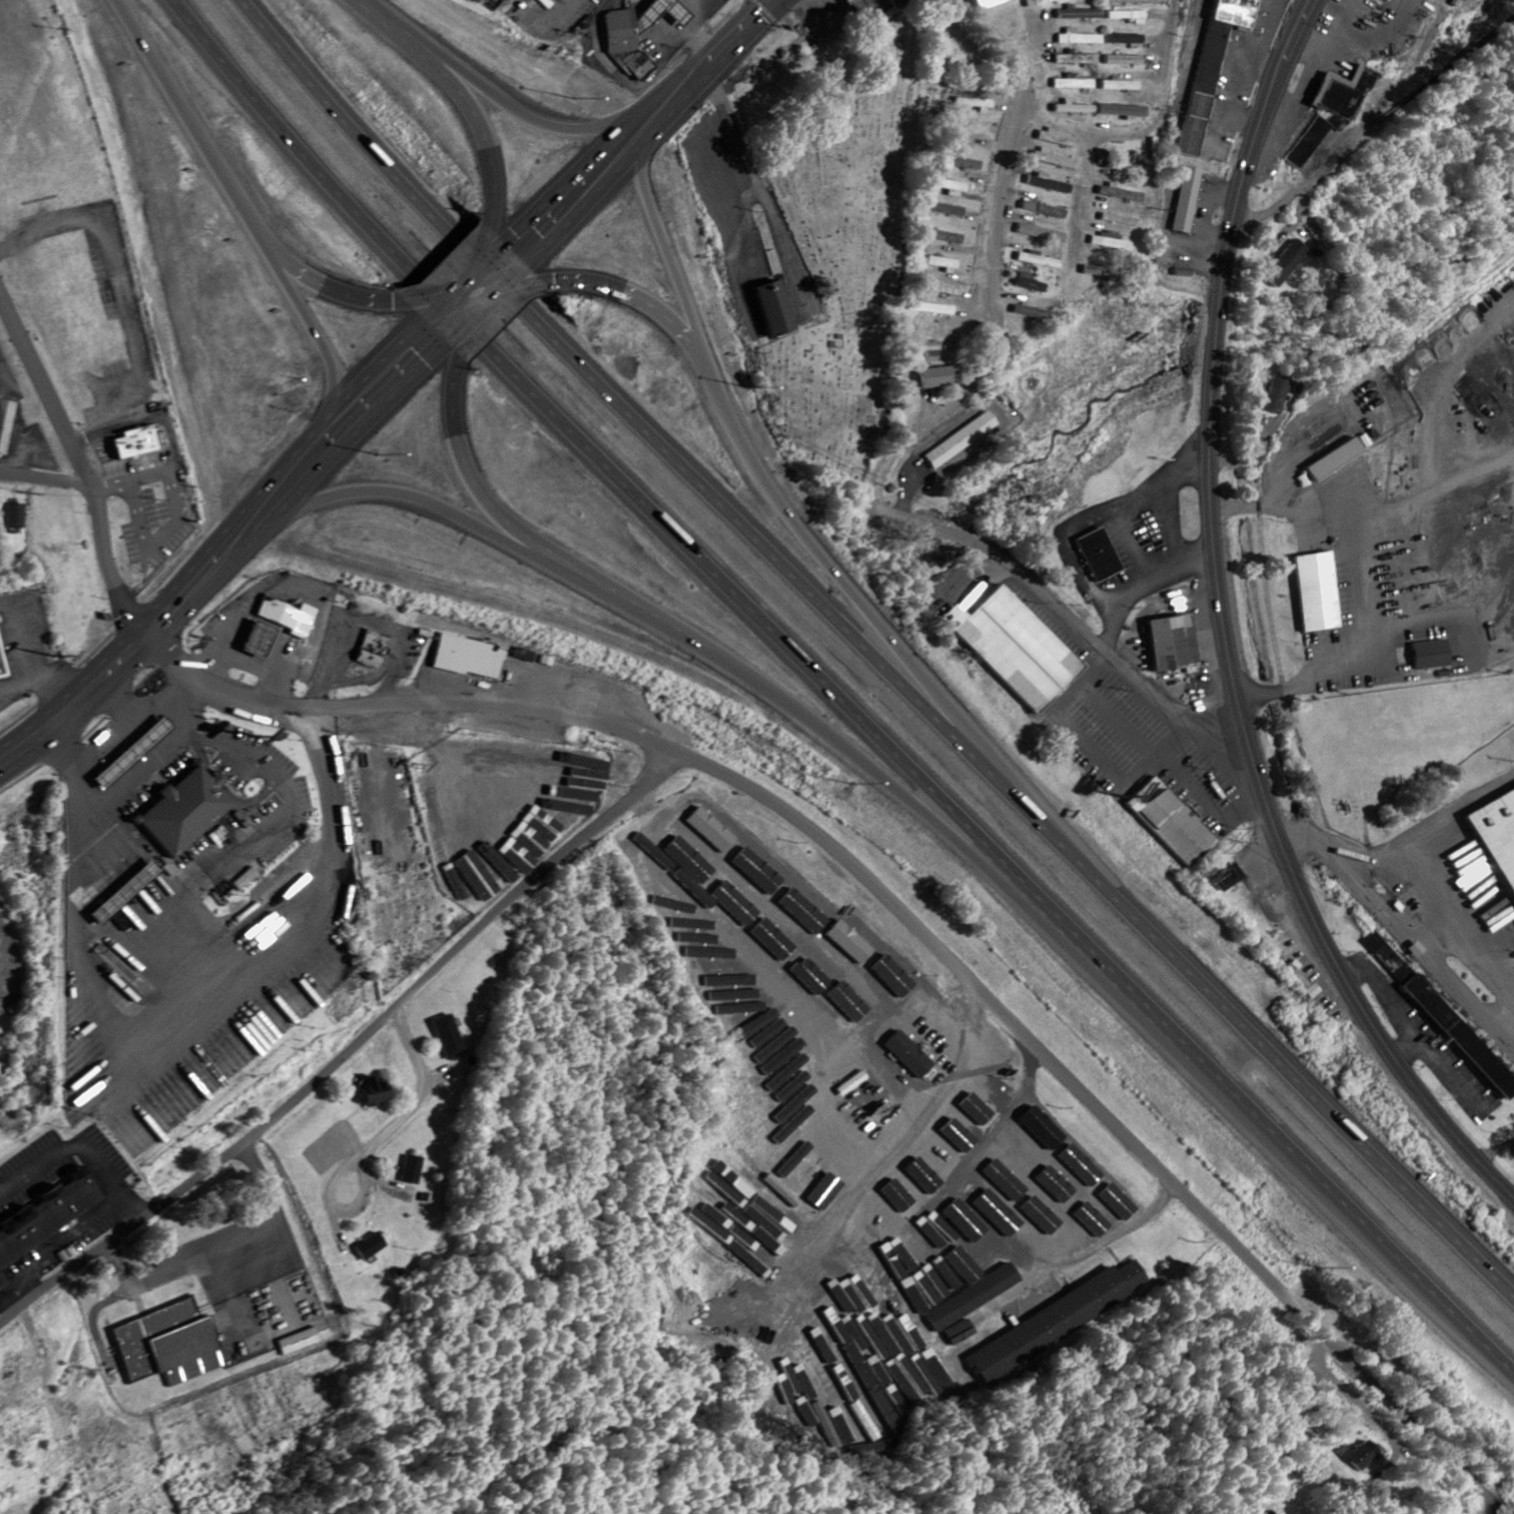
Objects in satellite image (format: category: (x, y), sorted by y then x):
building: (559, 2)
building: (899, 2)
building: (549, 3)
building: (1040, 3)
building: (989, 4)
building: (862, 9)
building: (1078, 14)
building: (1127, 17)
gas station: (683, 19)
building: (624, 35)
building: (1079, 39)
building: (1124, 40)
building: (1078, 60)
building: (1125, 61)
building: (1215, 65)
building: (1075, 83)
building: (1122, 86)
road: (1158, 89)
road: (485, 92)
building: (976, 104)
building: (1075, 109)
building: (1124, 111)
building: (1333, 111)
road: (471, 112)
road: (643, 126)
road: (1055, 127)
building: (1062, 141)
building: (1056, 160)
building: (966, 163)
building: (1131, 168)
building: (1051, 185)
building: (953, 186)
building: (1119, 194)
building: (1187, 200)
road: (1081, 202)
building: (946, 210)
building: (1044, 210)
road: (244, 217)
building: (1119, 221)
building: (1042, 234)
building: (948, 237)
building: (1109, 242)
road: (668, 248)
road: (478, 260)
building: (1039, 261)
building: (946, 263)
building: (1289, 265)
road: (492, 273)
road: (319, 283)
building: (1029, 283)
road: (601, 288)
building: (947, 289)
road: (435, 296)
road: (995, 296)
building: (767, 306)
building: (934, 309)
road: (451, 313)
building: (1030, 313)
road: (463, 325)
building: (930, 349)
building: (941, 377)
road: (46, 389)
building: (1275, 395)
building: (5, 423)
road: (333, 432)
building: (963, 440)
building: (136, 442)
building: (1334, 459)
road: (471, 481)
building: (15, 516)
road: (101, 518)
building: (1099, 555)
road: (194, 581)
building: (1318, 592)
building: (290, 616)
road: (873, 620)
road: (1226, 629)
building: (260, 639)
building: (1172, 643)
building: (1018, 648)
road: (1099, 648)
building: (373, 649)
building: (1435, 655)
building: (470, 657)
road: (869, 657)
building: (3, 664)
road: (739, 669)
road: (839, 689)
road: (79, 700)
road: (130, 716)
building: (128, 751)
gas station: (128, 751)
building: (181, 811)
building: (1175, 823)
building: (714, 830)
building: (1497, 837)
building: (696, 865)
building: (760, 871)
building: (1231, 878)
building: (245, 879)
building: (121, 891)
building: (738, 904)
building: (682, 908)
building: (803, 909)
road: (906, 918)
road: (1403, 927)
building: (705, 940)
building: (848, 940)
building: (778, 942)
road: (5, 950)
building: (700, 953)
building: (1389, 957)
building: (711, 967)
building: (819, 968)
building: (894, 974)
road: (848, 980)
building: (713, 981)
building: (812, 984)
building: (852, 1002)
building: (1, 1007)
building: (743, 1010)
building: (273, 1025)
building: (1462, 1034)
road: (182, 1035)
building: (450, 1037)
building: (762, 1049)
road: (350, 1050)
building: (913, 1055)
building: (376, 1093)
building: (983, 1109)
building: (1045, 1129)
building: (961, 1135)
building: (784, 1137)
road: (901, 1141)
road: (371, 1144)
building: (1023, 1152)
building: (795, 1161)
building: (1084, 1167)
building: (413, 1170)
building: (931, 1173)
building: (809, 1178)
building: (1008, 1181)
building: (917, 1186)
building: (737, 1193)
building: (908, 1196)
building: (792, 1199)
building: (1119, 1202)
building: (892, 1211)
building: (1043, 1215)
building: (1094, 1220)
building: (49, 1221)
road: (1008, 1224)
building: (770, 1226)
building: (938, 1229)
building: (946, 1238)
building: (740, 1241)
building: (958, 1243)
building: (372, 1247)
building: (986, 1253)
building: (952, 1278)
building: (977, 1298)
building: (899, 1299)
road: (906, 1315)
building: (785, 1320)
building: (1058, 1321)
building: (303, 1342)
building: (172, 1346)
building: (807, 1348)
building: (885, 1351)
building: (942, 1359)
building: (916, 1364)
building: (1311, 1376)
building: (880, 1377)
building: (905, 1383)
building: (862, 1443)
building: (1360, 1455)

